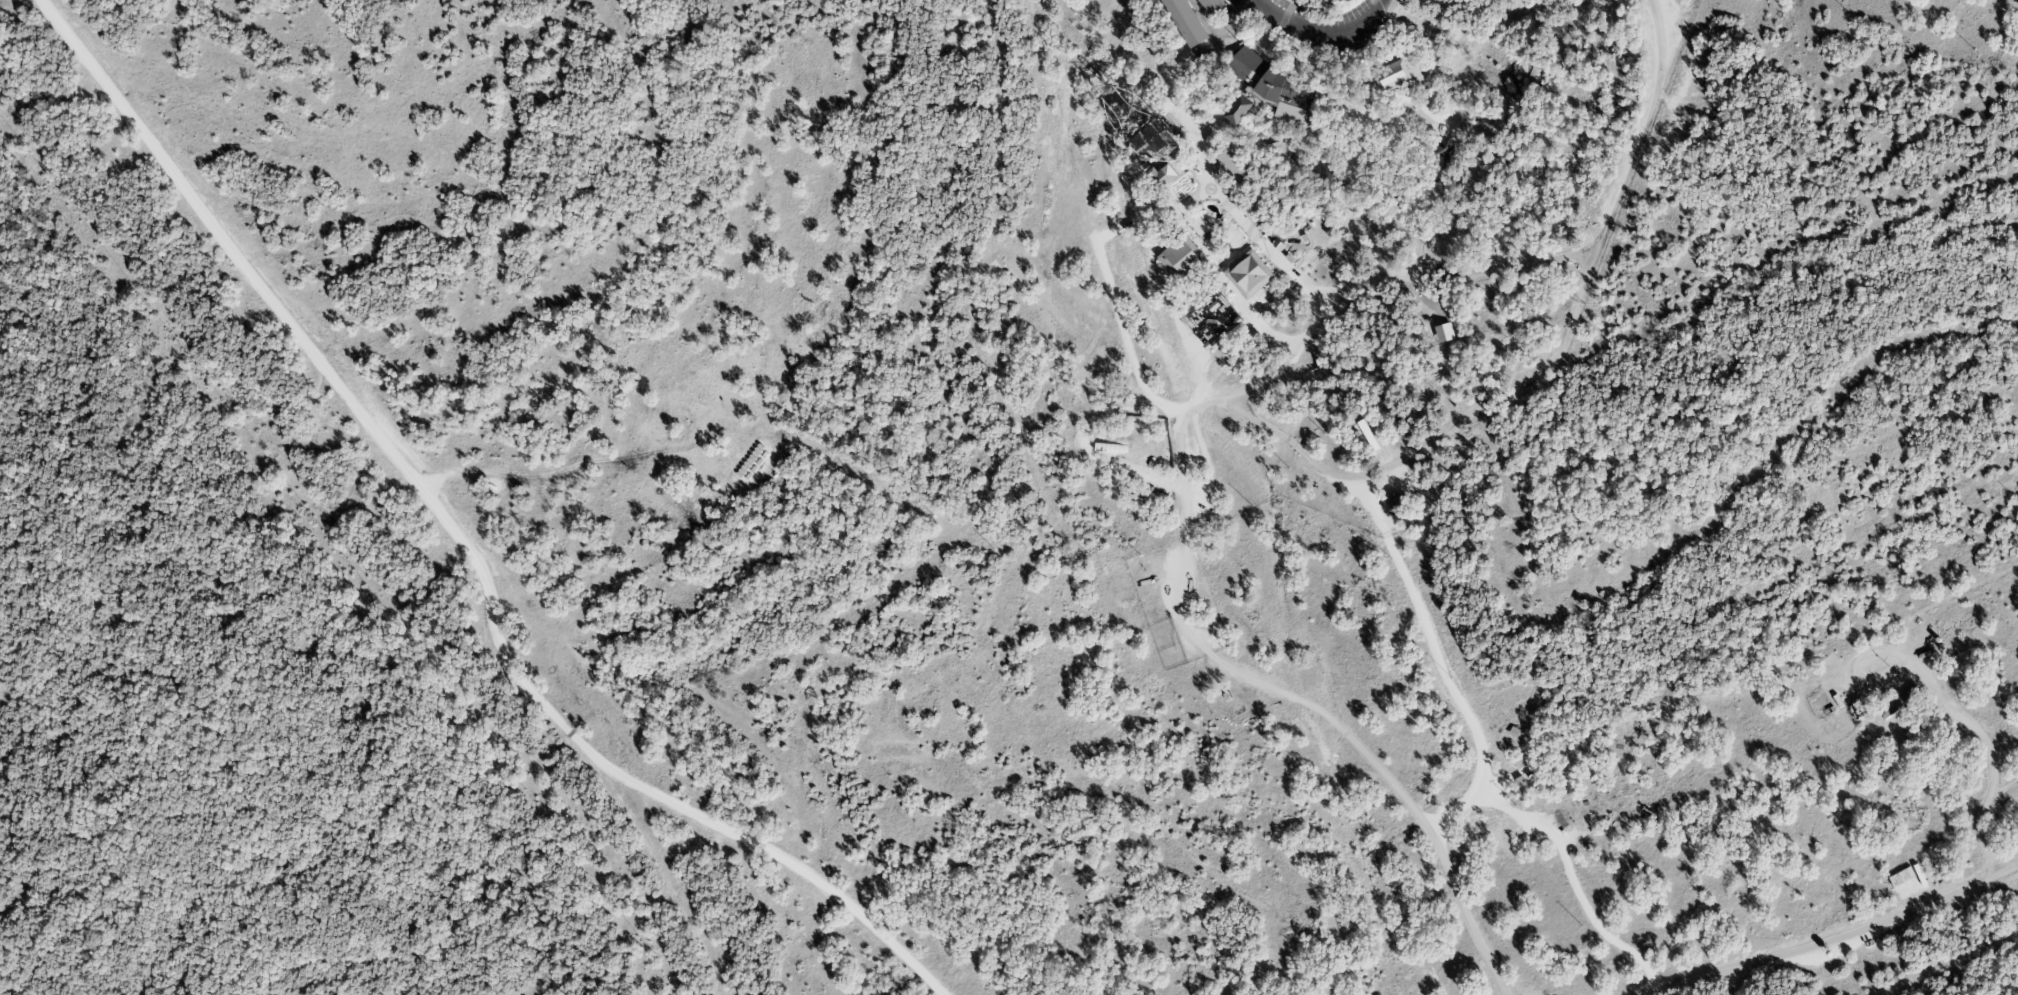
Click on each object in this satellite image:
building: (1210, 6)
building: (1183, 21)
parking lot: (1327, 24)
road: (1323, 33)
road: (1292, 50)
building: (1390, 76)
road: (1370, 81)
building: (1267, 90)
road: (1411, 132)
road: (1368, 140)
building: (1443, 149)
building: (1443, 160)
building: (1235, 163)
building: (1167, 173)
road: (1318, 207)
building: (1181, 257)
road: (1284, 264)
building: (1248, 273)
road: (1454, 277)
building: (1213, 320)
building: (1443, 332)
road: (1222, 398)
building: (1391, 501)
road: (462, 539)
road: (1437, 659)
road: (1945, 701)
building: (1900, 703)
road: (1831, 937)

